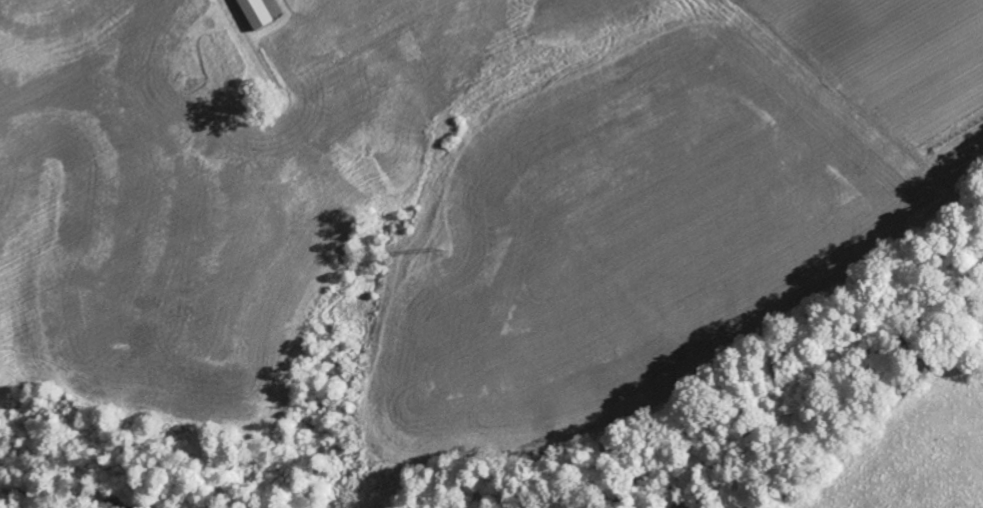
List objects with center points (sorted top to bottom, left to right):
building: (257, 12)
road: (242, 40)

